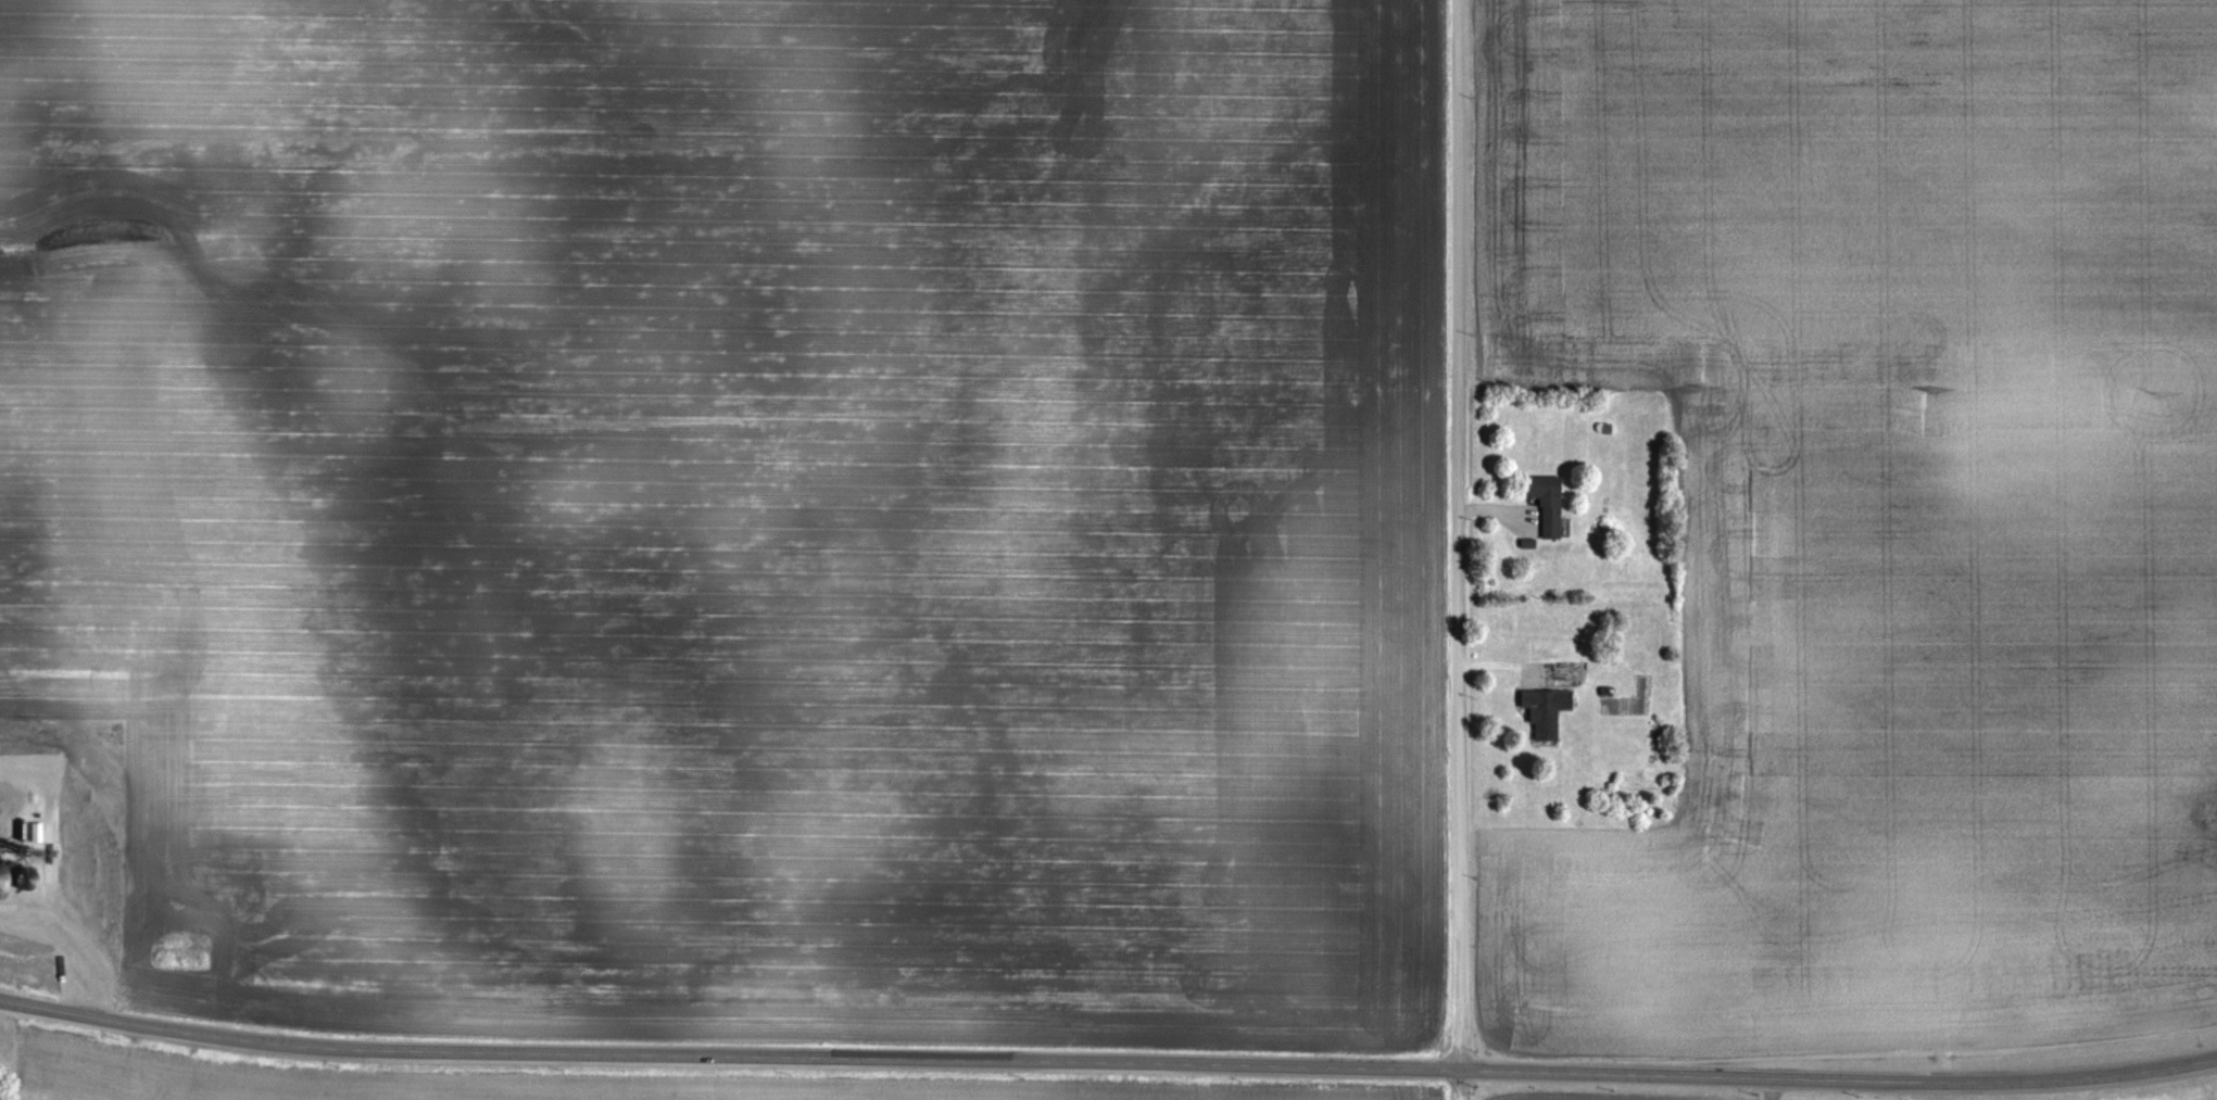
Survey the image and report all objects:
building: (1547, 504)
road: (1457, 549)
building: (1546, 711)
road: (1107, 1062)

